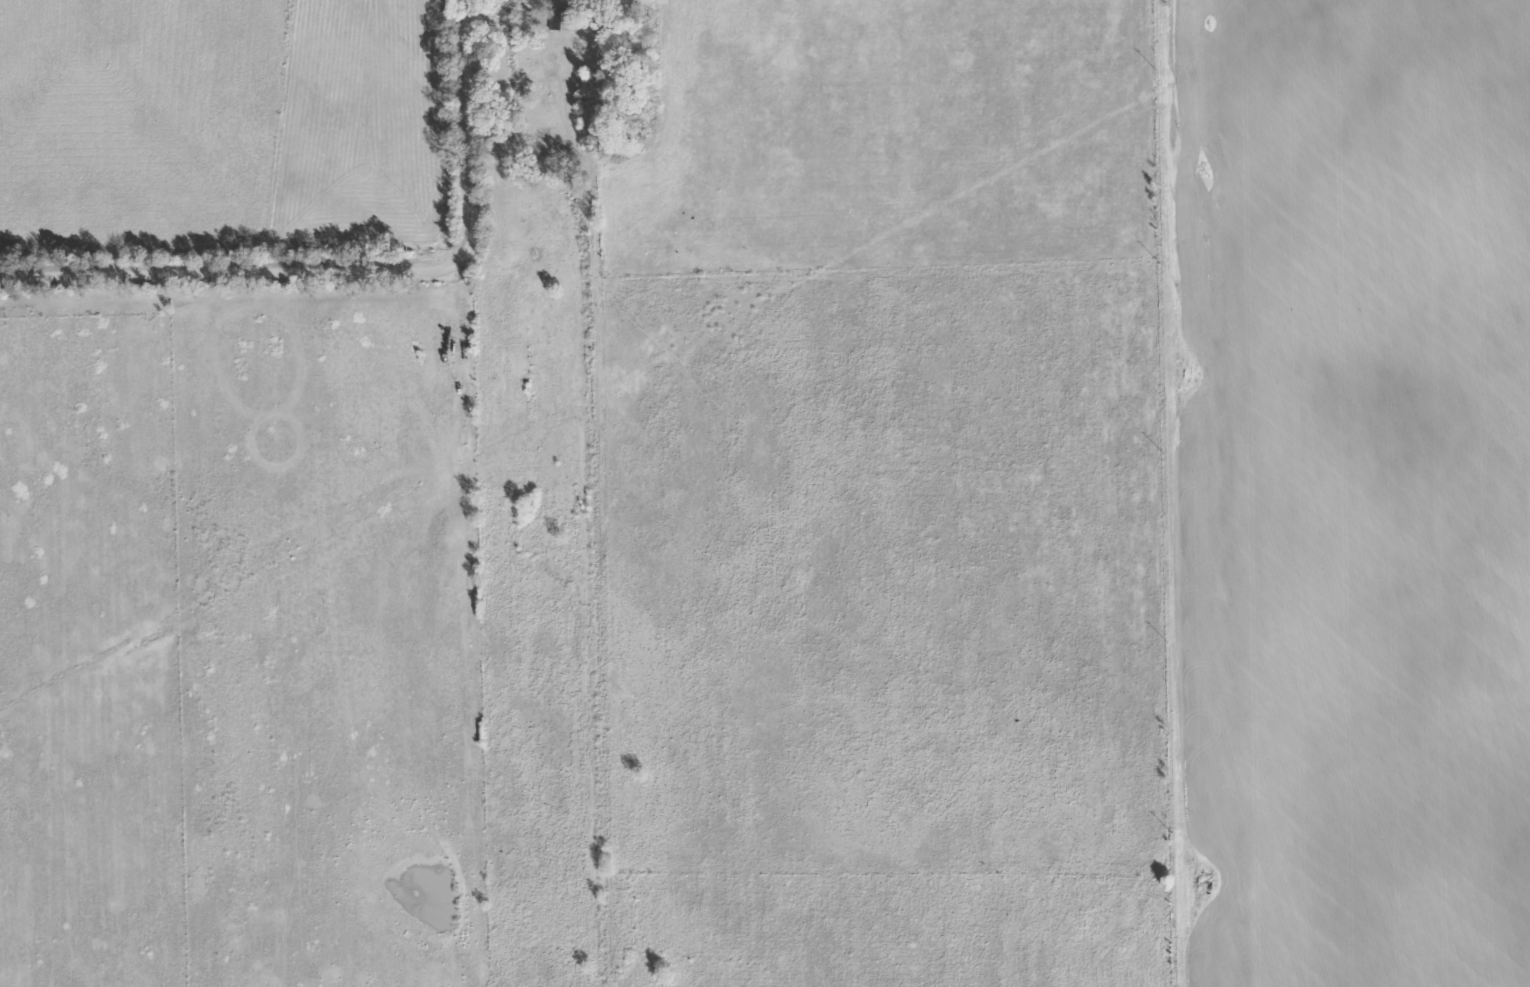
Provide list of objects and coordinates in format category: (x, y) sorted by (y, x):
road: (364, 269)

